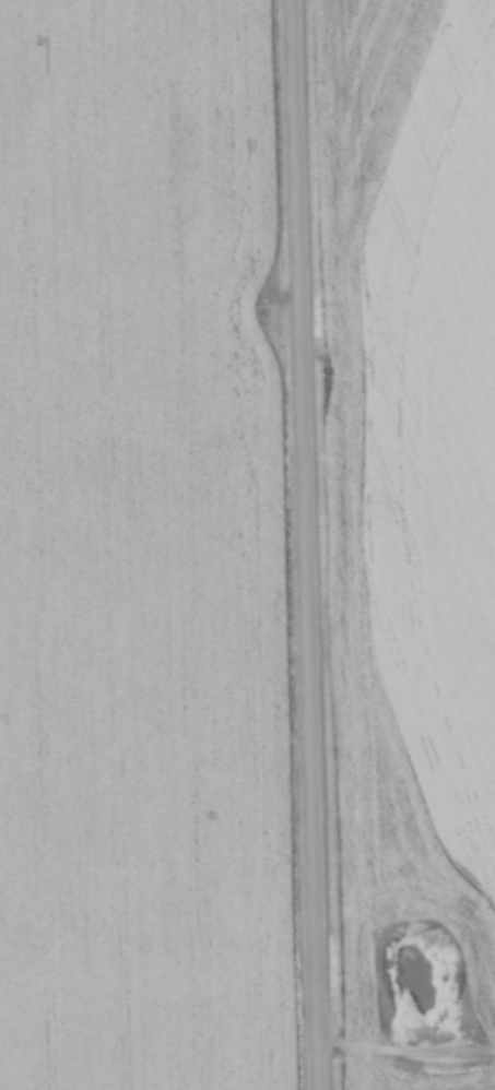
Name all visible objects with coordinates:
crop: (144, 490)
road: (306, 545)

